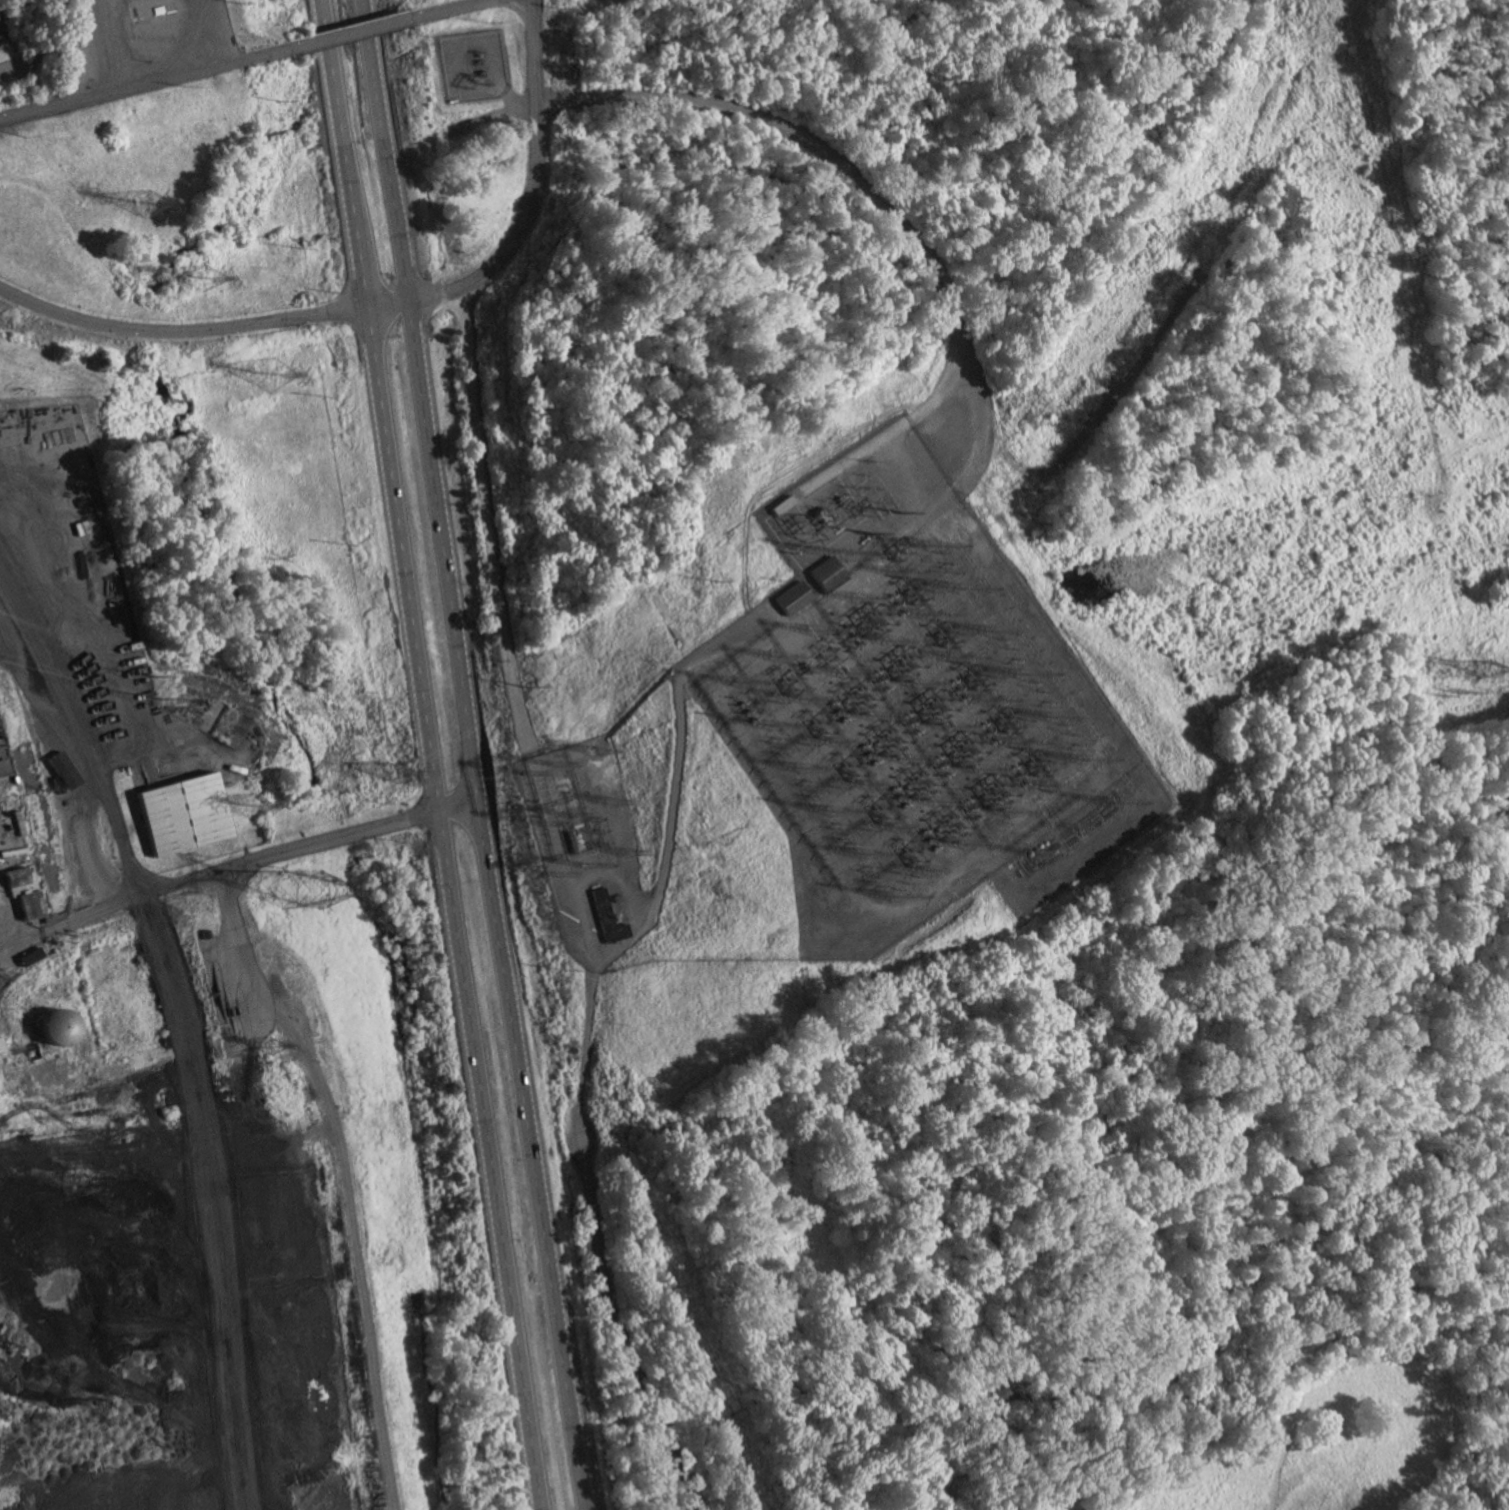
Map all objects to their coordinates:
road: (463, 9)
parking lot: (4, 26)
road: (354, 34)
parking lot: (21, 63)
power substation: (470, 63)
road: (142, 82)
road: (843, 166)
power tower: (147, 203)
road: (532, 207)
power tower: (1370, 256)
power tower: (205, 276)
road: (181, 329)
power tower: (275, 375)
power tower: (1419, 499)
road: (490, 523)
building: (827, 574)
building: (792, 597)
power tower: (1485, 671)
power tower: (1458, 695)
power substation: (844, 748)
road: (71, 749)
road: (428, 755)
road: (472, 755)
building: (68, 770)
power tower: (395, 773)
power tower: (250, 806)
building: (180, 811)
road: (235, 863)
power tower: (299, 892)
building: (28, 893)
building: (609, 919)
building: (53, 1025)
building: (69, 1029)
building: (3, 1046)
power tower: (269, 1047)
road: (588, 1055)
road: (626, 1329)

